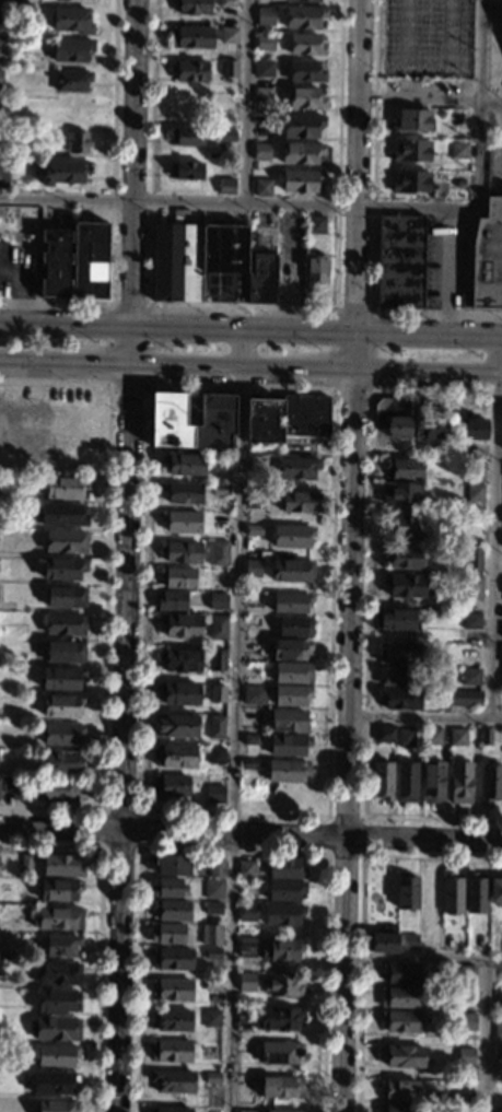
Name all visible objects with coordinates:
building: (66, 0)
building: (302, 0)
building: (226, 2)
building: (192, 7)
building: (501, 12)
building: (2, 14)
building: (264, 16)
building: (500, 16)
building: (303, 17)
building: (71, 21)
building: (229, 36)
building: (190, 37)
building: (265, 42)
building: (306, 45)
building: (1, 48)
building: (72, 49)
building: (227, 68)
building: (264, 69)
building: (189, 70)
building: (305, 71)
building: (1, 77)
building: (71, 80)
road: (417, 95)
building: (262, 96)
building: (305, 97)
road: (489, 98)
road: (244, 103)
building: (224, 104)
building: (1, 107)
building: (69, 109)
building: (411, 120)
building: (302, 126)
building: (226, 136)
building: (1, 137)
building: (186, 138)
building: (75, 142)
building: (458, 149)
building: (260, 151)
building: (411, 151)
building: (300, 153)
road: (497, 153)
building: (63, 172)
building: (185, 172)
building: (3, 174)
building: (301, 180)
building: (457, 180)
building: (410, 182)
road: (132, 185)
building: (224, 186)
building: (261, 187)
road: (353, 187)
road: (342, 207)
building: (315, 224)
building: (488, 257)
building: (90, 260)
building: (400, 261)
building: (198, 262)
building: (54, 264)
building: (314, 270)
road: (448, 272)
building: (261, 280)
road: (250, 329)
road: (66, 367)
road: (317, 375)
building: (215, 411)
building: (284, 418)
building: (393, 418)
building: (428, 425)
building: (474, 428)
building: (258, 460)
building: (185, 465)
building: (296, 468)
building: (404, 469)
building: (475, 475)
building: (65, 488)
building: (220, 490)
building: (182, 493)
building: (474, 493)
building: (400, 495)
building: (256, 499)
building: (301, 503)
building: (62, 515)
building: (219, 520)
building: (180, 522)
building: (404, 526)
road: (495, 527)
building: (253, 530)
building: (291, 536)
building: (65, 542)
building: (179, 551)
building: (218, 553)
building: (404, 558)
building: (470, 559)
building: (63, 567)
building: (253, 567)
building: (291, 571)
building: (177, 577)
building: (405, 586)
building: (471, 587)
building: (66, 597)
road: (127, 600)
building: (171, 601)
building: (217, 601)
building: (290, 602)
road: (349, 608)
building: (471, 619)
building: (395, 620)
building: (65, 624)
building: (180, 625)
building: (218, 627)
building: (294, 627)
building: (501, 630)
building: (291, 649)
building: (63, 652)
building: (397, 654)
building: (500, 655)
building: (469, 656)
building: (180, 660)
building: (217, 660)
building: (292, 674)
building: (399, 676)
building: (469, 676)
building: (61, 679)
building: (501, 680)
building: (179, 693)
building: (254, 693)
building: (215, 694)
building: (291, 695)
building: (400, 699)
building: (464, 699)
building: (501, 703)
building: (61, 706)
road: (424, 717)
road: (234, 719)
building: (288, 721)
building: (177, 726)
building: (217, 727)
building: (383, 734)
building: (61, 735)
building: (432, 736)
building: (457, 738)
building: (486, 738)
building: (250, 739)
building: (406, 739)
building: (287, 745)
building: (175, 756)
building: (215, 757)
building: (62, 762)
building: (247, 764)
building: (287, 771)
building: (382, 781)
building: (406, 783)
building: (432, 783)
building: (459, 783)
building: (4, 784)
building: (490, 784)
building: (171, 786)
building: (20, 791)
building: (60, 791)
building: (214, 794)
road: (61, 829)
road: (312, 839)
building: (25, 862)
building: (61, 866)
building: (172, 866)
building: (217, 868)
building: (285, 868)
building: (246, 869)
building: (170, 888)
building: (249, 888)
building: (213, 889)
building: (59, 890)
building: (495, 890)
building: (284, 891)
building: (406, 891)
building: (452, 894)
building: (475, 894)
building: (212, 909)
building: (171, 910)
building: (246, 913)
building: (282, 914)
building: (58, 918)
building: (167, 934)
building: (211, 935)
building: (381, 941)
building: (409, 941)
building: (451, 943)
building: (479, 944)
building: (61, 946)
building: (246, 947)
building: (281, 950)
building: (212, 953)
building: (172, 959)
road: (423, 962)
road: (120, 971)
building: (58, 972)
building: (400, 974)
road: (343, 975)
building: (466, 978)
building: (245, 982)
building: (211, 984)
building: (282, 986)
building: (171, 990)
building: (466, 996)
building: (398, 997)
building: (499, 999)
building: (58, 1002)
building: (245, 1015)
building: (211, 1018)
building: (278, 1019)
building: (172, 1020)
building: (401, 1021)
building: (467, 1021)
building: (55, 1029)
building: (498, 1030)
road: (487, 1037)
building: (244, 1047)
building: (171, 1051)
building: (499, 1053)
building: (280, 1054)
building: (57, 1056)
building: (401, 1056)
building: (465, 1056)
building: (212, 1078)
building: (172, 1081)
building: (54, 1082)
building: (281, 1088)
building: (399, 1089)
building: (57, 1107)
building: (397, 1108)
building: (170, 1110)
building: (246, 1111)
building: (282, 1111)

